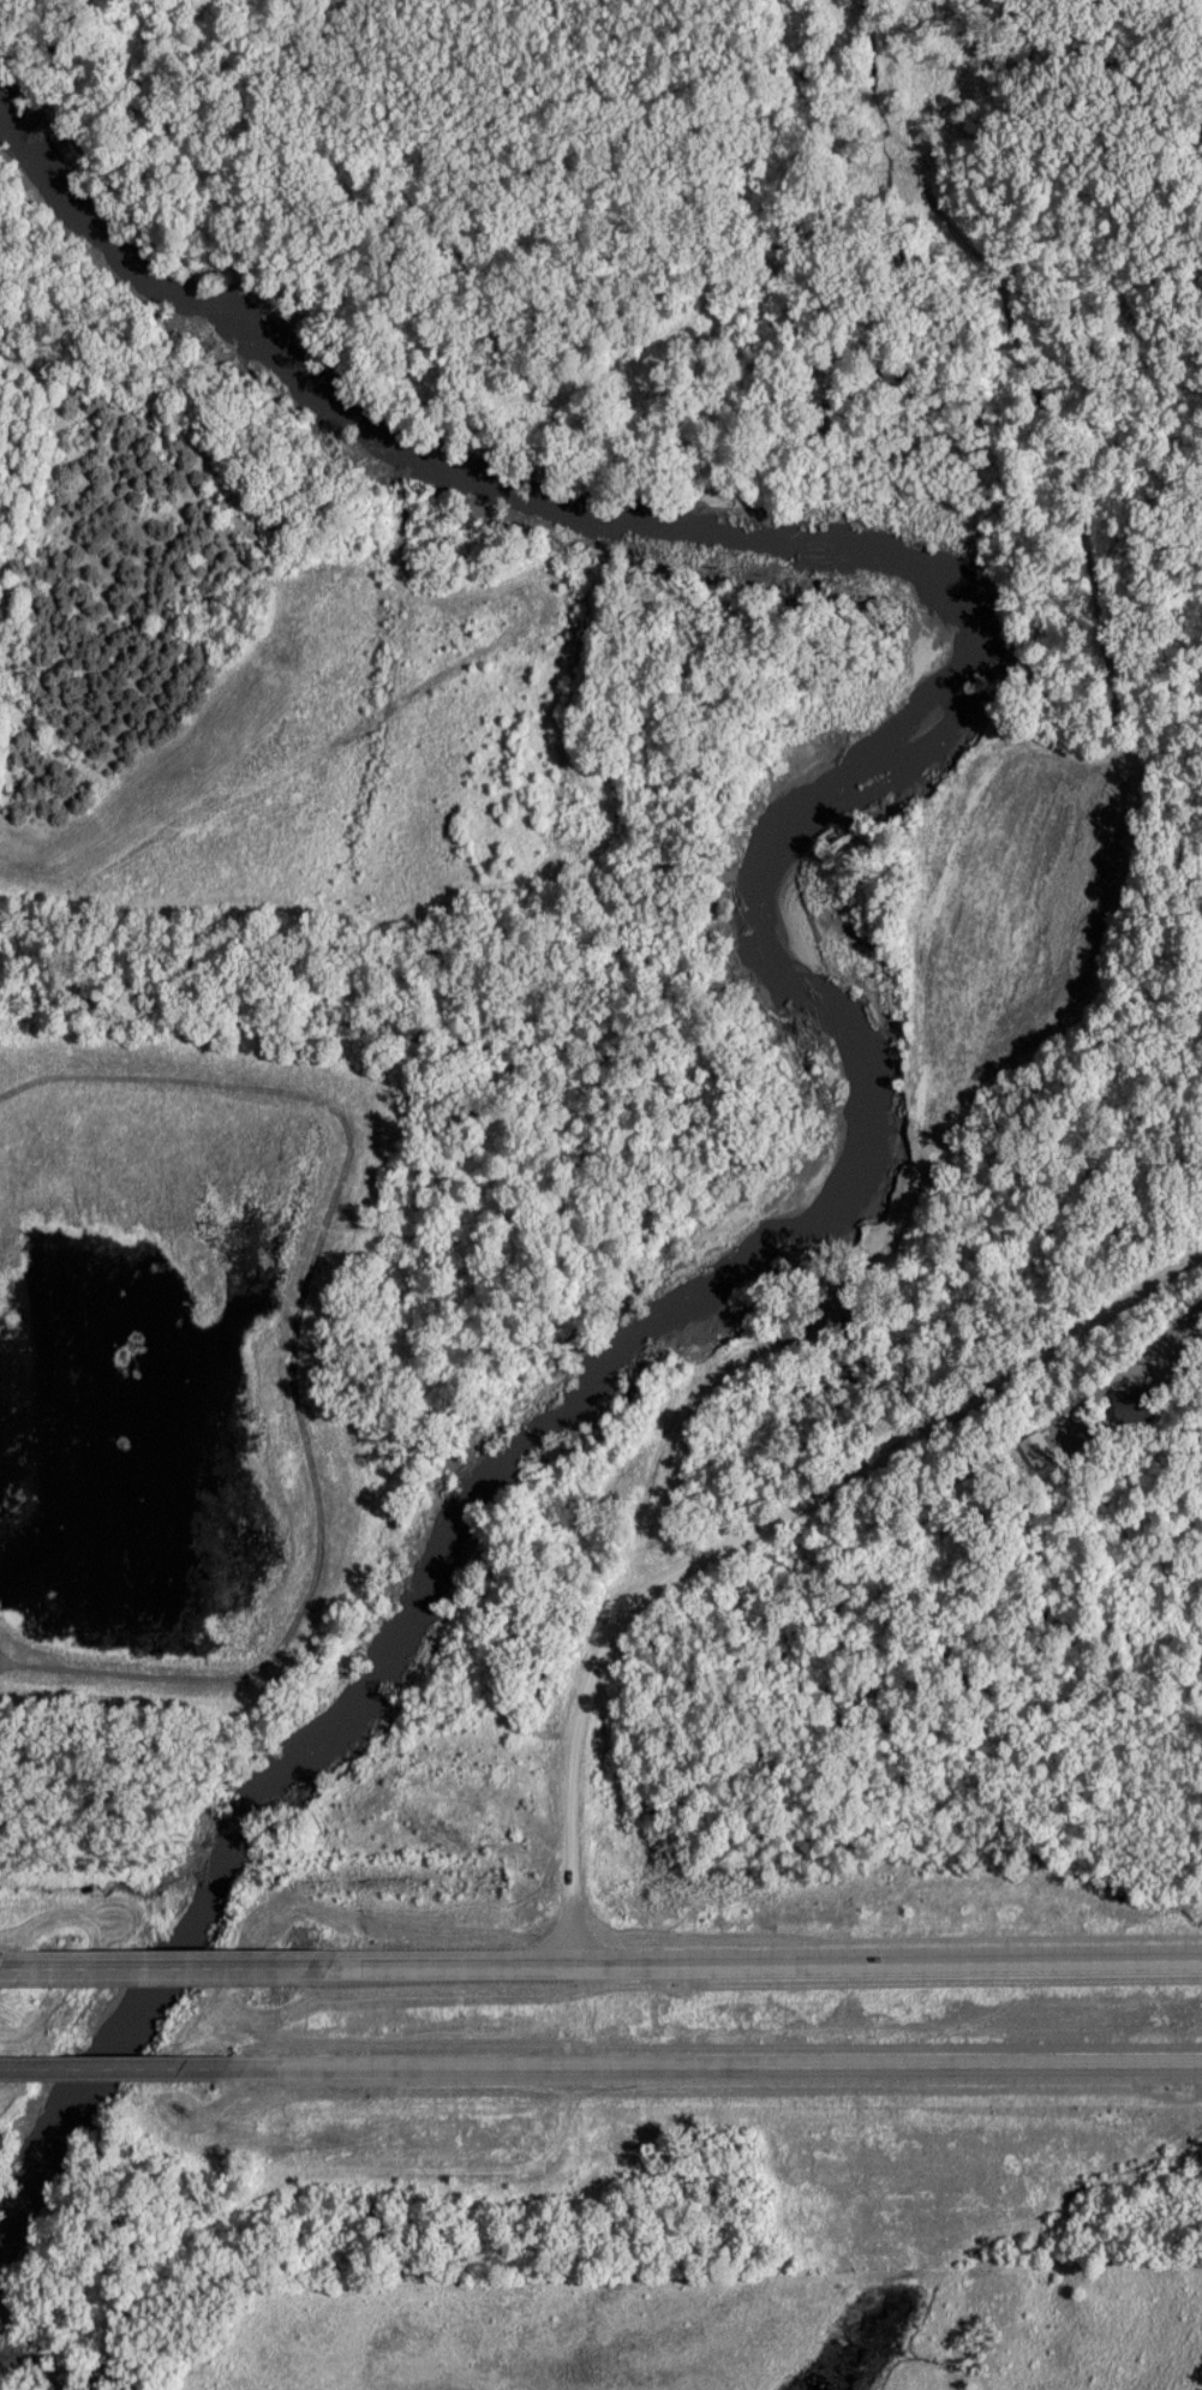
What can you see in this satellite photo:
river: (845, 949)
road: (760, 1528)
road: (887, 1962)
road: (173, 1965)
road: (441, 1965)
road: (18, 1966)
road: (127, 2065)
road: (722, 2065)
road: (6, 2066)
road: (563, 2131)
road: (334, 2171)

